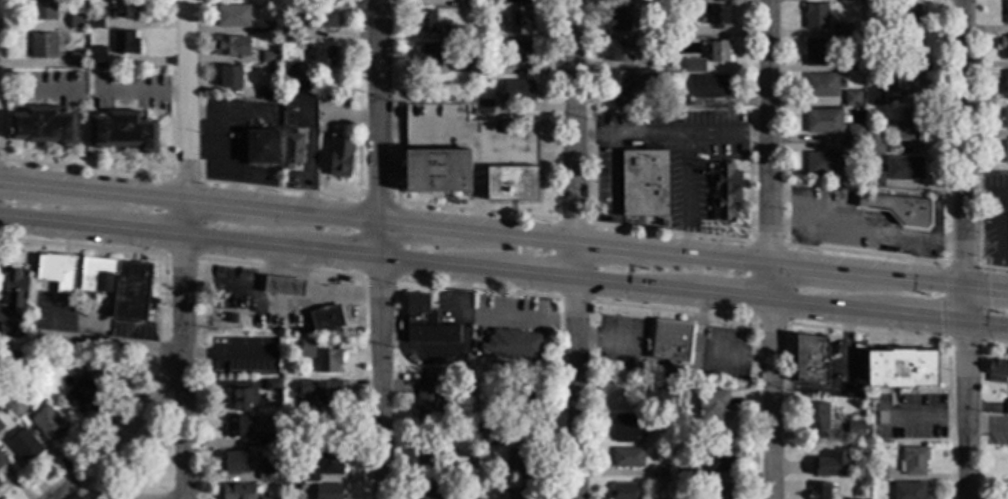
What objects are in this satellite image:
building: (520, 1)
building: (679, 1)
building: (853, 1)
building: (327, 2)
building: (465, 3)
building: (123, 10)
building: (40, 11)
building: (1006, 14)
building: (713, 16)
building: (909, 16)
building: (232, 18)
building: (816, 18)
building: (320, 20)
building: (619, 20)
building: (426, 22)
building: (518, 22)
building: (75, 23)
building: (94, 24)
building: (259, 28)
building: (681, 29)
building: (841, 30)
building: (872, 31)
building: (652, 33)
building: (465, 34)
building: (288, 36)
building: (483, 36)
building: (124, 45)
building: (40, 47)
building: (230, 48)
building: (1004, 48)
building: (718, 52)
building: (621, 53)
building: (815, 53)
building: (909, 53)
building: (427, 57)
building: (520, 57)
building: (97, 58)
building: (269, 58)
building: (324, 58)
building: (658, 60)
building: (76, 61)
building: (849, 64)
building: (691, 67)
building: (459, 68)
building: (288, 71)
building: (482, 71)
building: (230, 79)
building: (630, 85)
building: (908, 85)
building: (1005, 86)
building: (820, 87)
building: (710, 88)
road: (141, 93)
building: (518, 93)
building: (267, 94)
building: (485, 96)
building: (874, 97)
building: (851, 100)
building: (680, 101)
building: (484, 107)
building: (1005, 119)
building: (823, 122)
building: (908, 126)
building: (42, 127)
building: (122, 133)
road: (630, 134)
building: (854, 136)
building: (874, 147)
building: (262, 148)
building: (851, 150)
road: (687, 151)
building: (291, 152)
building: (468, 155)
building: (1005, 155)
road: (1, 159)
building: (340, 159)
building: (823, 165)
road: (86, 169)
building: (903, 170)
road: (185, 179)
building: (874, 180)
building: (644, 184)
road: (269, 188)
road: (614, 190)
building: (724, 190)
road: (377, 199)
road: (12, 200)
building: (898, 209)
road: (475, 210)
road: (152, 215)
road: (385, 221)
road: (572, 221)
road: (670, 232)
building: (844, 232)
road: (764, 243)
road: (82, 246)
road: (185, 249)
road: (381, 249)
road: (576, 249)
road: (771, 249)
road: (964, 249)
road: (863, 254)
road: (179, 257)
road: (385, 259)
traffic signals: (965, 262)
road: (280, 268)
road: (992, 268)
building: (57, 271)
road: (889, 276)
road: (379, 278)
building: (119, 284)
building: (283, 287)
traffic signals: (988, 288)
building: (14, 289)
road: (478, 289)
road: (574, 300)
gas station: (282, 302)
road: (673, 311)
road: (889, 314)
road: (702, 315)
building: (232, 318)
building: (326, 319)
traffic signals: (939, 320)
road: (493, 321)
building: (426, 323)
road: (772, 323)
road: (869, 333)
road: (950, 339)
road: (104, 341)
building: (673, 341)
road: (610, 342)
building: (513, 343)
road: (699, 344)
road: (994, 347)
building: (307, 349)
traffic signals: (966, 349)
building: (12, 356)
road: (731, 356)
road: (698, 359)
building: (811, 359)
building: (328, 361)
building: (34, 367)
building: (902, 369)
building: (997, 371)
road: (666, 372)
building: (272, 386)
road: (845, 387)
building: (84, 388)
building: (319, 391)
building: (520, 395)
building: (657, 395)
building: (244, 398)
building: (428, 402)
building: (14, 405)
building: (714, 405)
building: (1005, 408)
building: (817, 417)
building: (47, 423)
building: (237, 426)
building: (0, 427)
building: (332, 427)
building: (855, 427)
building: (628, 428)
building: (845, 428)
road: (114, 432)
building: (487, 436)
building: (266, 438)
building: (23, 446)
building: (628, 458)
park: (137, 459)
building: (470, 459)
building: (2, 460)
building: (429, 460)
building: (718, 460)
building: (913, 461)
building: (235, 462)
building: (331, 462)
building: (522, 463)
building: (831, 464)
building: (657, 471)
building: (878, 472)
building: (265, 473)
building: (685, 473)
building: (310, 474)
building: (0, 485)
building: (721, 490)
building: (238, 491)
building: (438, 491)
building: (624, 491)
building: (820, 491)
building: (908, 491)
building: (328, 492)
building: (1007, 493)
building: (520, 494)
building: (270, 498)
building: (461, 498)
building: (469, 498)

